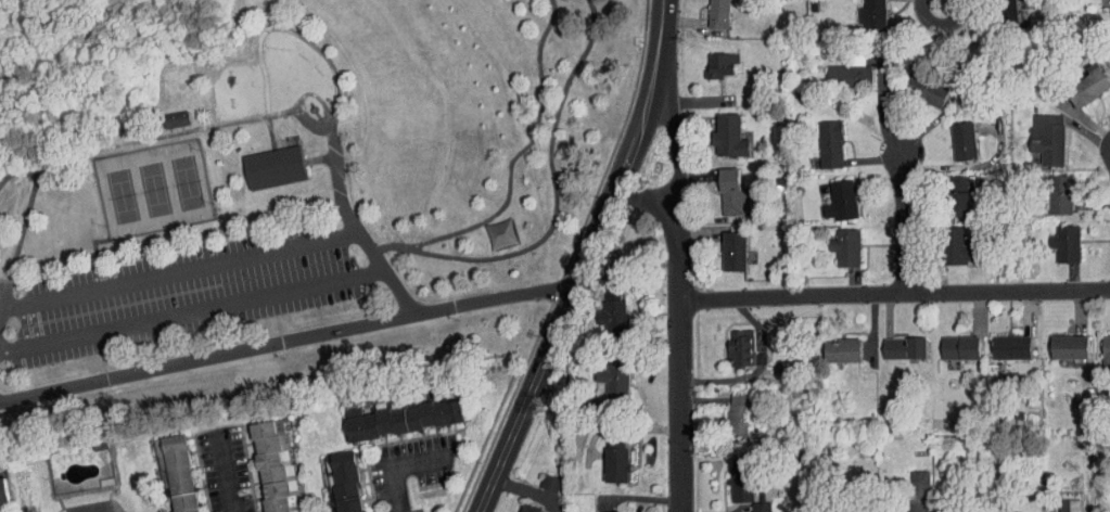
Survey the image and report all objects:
road: (939, 10)
building: (717, 13)
building: (872, 13)
building: (1006, 14)
building: (1108, 16)
road: (295, 30)
road: (655, 37)
building: (711, 60)
building: (719, 64)
building: (849, 75)
building: (1087, 85)
building: (926, 89)
road: (311, 93)
building: (165, 113)
road: (636, 132)
road: (269, 133)
building: (728, 135)
road: (165, 137)
building: (1047, 138)
building: (962, 140)
building: (829, 143)
road: (319, 158)
building: (264, 161)
park: (280, 185)
road: (340, 185)
park: (155, 187)
building: (732, 192)
building: (1060, 193)
road: (646, 196)
building: (957, 196)
building: (841, 200)
road: (904, 214)
road: (21, 227)
road: (592, 238)
building: (1066, 242)
road: (387, 246)
building: (845, 246)
building: (955, 246)
building: (732, 249)
road: (435, 256)
road: (386, 269)
road: (174, 271)
road: (0, 286)
road: (678, 290)
road: (893, 291)
parking lot: (186, 292)
building: (601, 303)
road: (192, 307)
building: (614, 316)
road: (285, 342)
building: (1009, 346)
building: (1069, 346)
building: (740, 347)
building: (903, 347)
building: (959, 347)
building: (842, 349)
building: (1106, 354)
building: (614, 381)
road: (524, 399)
building: (727, 407)
building: (583, 408)
building: (393, 410)
building: (737, 414)
building: (605, 455)
building: (265, 462)
building: (615, 462)
building: (167, 466)
road: (222, 475)
building: (539, 475)
building: (909, 475)
building: (339, 477)
building: (743, 477)
building: (919, 482)
building: (549, 483)
road: (396, 489)
building: (750, 503)
building: (1056, 503)
building: (1070, 505)
building: (760, 507)
building: (528, 508)
building: (604, 509)
building: (892, 510)
building: (833, 511)
building: (945, 511)
building: (1013, 511)

